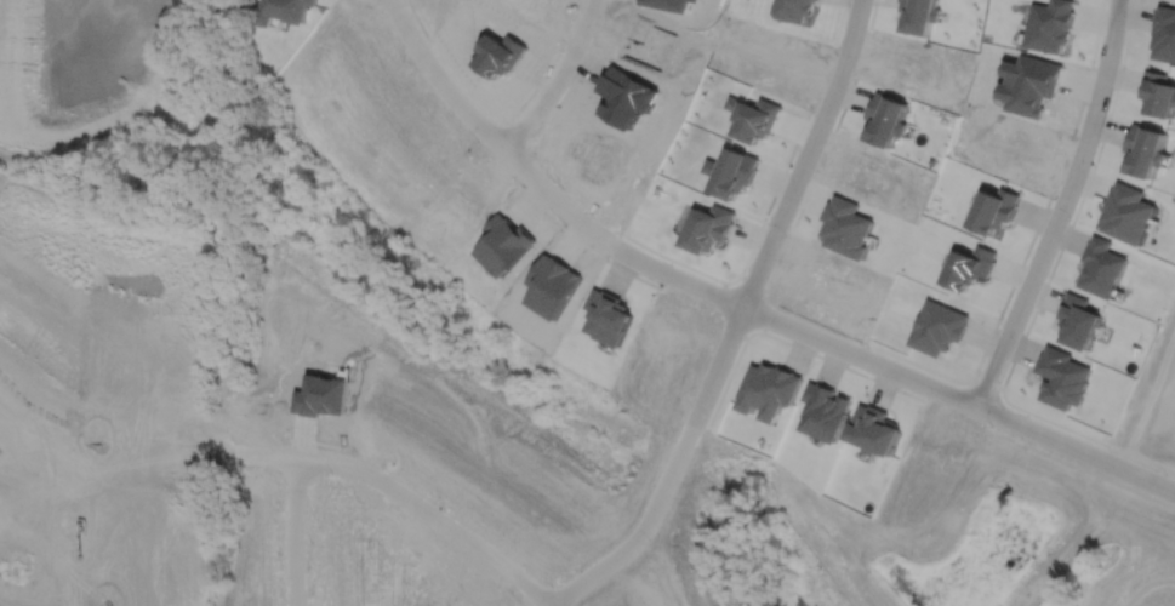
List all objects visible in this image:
building: (920, 13)
building: (1050, 24)
building: (1164, 33)
road: (555, 78)
building: (1032, 82)
building: (1158, 92)
building: (885, 118)
building: (1148, 148)
building: (731, 171)
road: (1060, 206)
building: (996, 208)
building: (1130, 211)
road: (782, 212)
building: (1103, 265)
road: (738, 303)
building: (608, 315)
building: (1063, 377)
building: (825, 411)
building: (874, 429)
road: (143, 450)
road: (1078, 465)
road: (369, 471)
road: (81, 526)
road: (639, 526)
road: (1145, 584)

